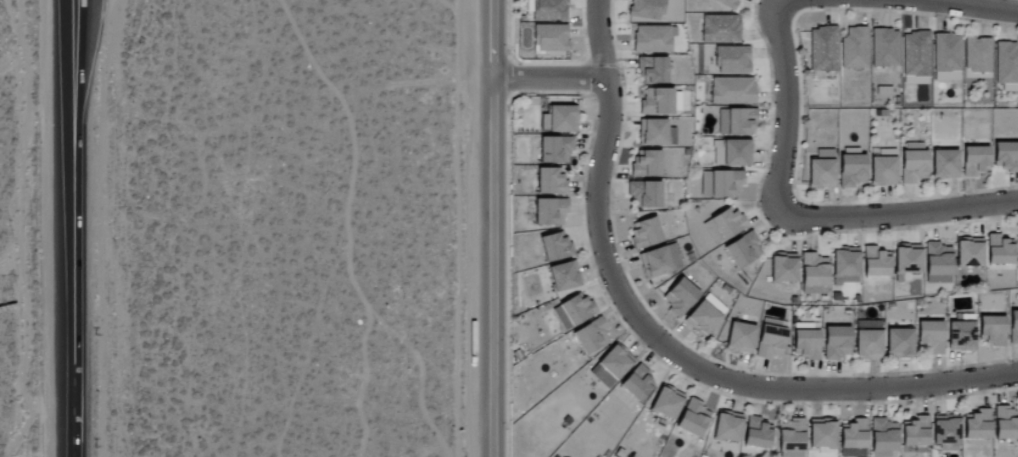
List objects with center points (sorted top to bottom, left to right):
building: (727, 3)
road: (975, 5)
building: (547, 10)
building: (645, 11)
building: (720, 29)
building: (549, 38)
road: (599, 38)
building: (653, 39)
building: (884, 48)
building: (822, 49)
building: (854, 49)
building: (915, 54)
building: (977, 55)
building: (946, 58)
building: (731, 60)
building: (652, 71)
road: (548, 77)
building: (732, 91)
building: (660, 101)
road: (786, 111)
road: (68, 117)
road: (77, 117)
building: (558, 119)
building: (736, 122)
building: (654, 133)
building: (554, 150)
building: (731, 153)
building: (1005, 156)
building: (975, 161)
building: (911, 163)
building: (646, 164)
building: (944, 164)
building: (851, 171)
building: (882, 171)
building: (820, 174)
building: (549, 182)
building: (720, 184)
building: (643, 194)
building: (549, 212)
road: (905, 213)
building: (725, 222)
road: (492, 228)
building: (644, 234)
building: (554, 247)
building: (1017, 247)
building: (742, 250)
building: (999, 250)
building: (968, 252)
building: (906, 259)
building: (658, 261)
building: (874, 262)
building: (937, 264)
building: (844, 266)
building: (782, 268)
building: (813, 274)
building: (563, 276)
building: (678, 297)
building: (576, 309)
building: (704, 315)
building: (1013, 327)
building: (991, 330)
building: (960, 333)
building: (590, 337)
building: (930, 337)
building: (739, 338)
building: (867, 340)
building: (804, 341)
building: (835, 342)
building: (898, 343)
road: (72, 345)
building: (614, 362)
road: (695, 365)
building: (636, 384)
building: (665, 403)
building: (692, 419)
building: (1005, 424)
building: (976, 425)
building: (726, 427)
building: (944, 430)
building: (757, 434)
building: (914, 434)
building: (822, 435)
building: (790, 438)
building: (852, 438)
building: (882, 438)

